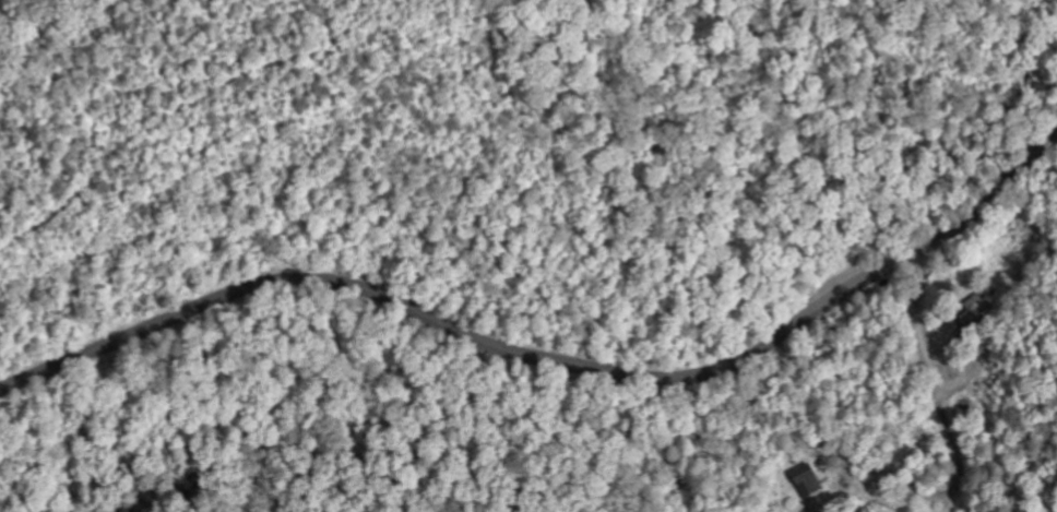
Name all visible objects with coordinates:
road: (550, 358)
road: (947, 426)
building: (811, 481)

